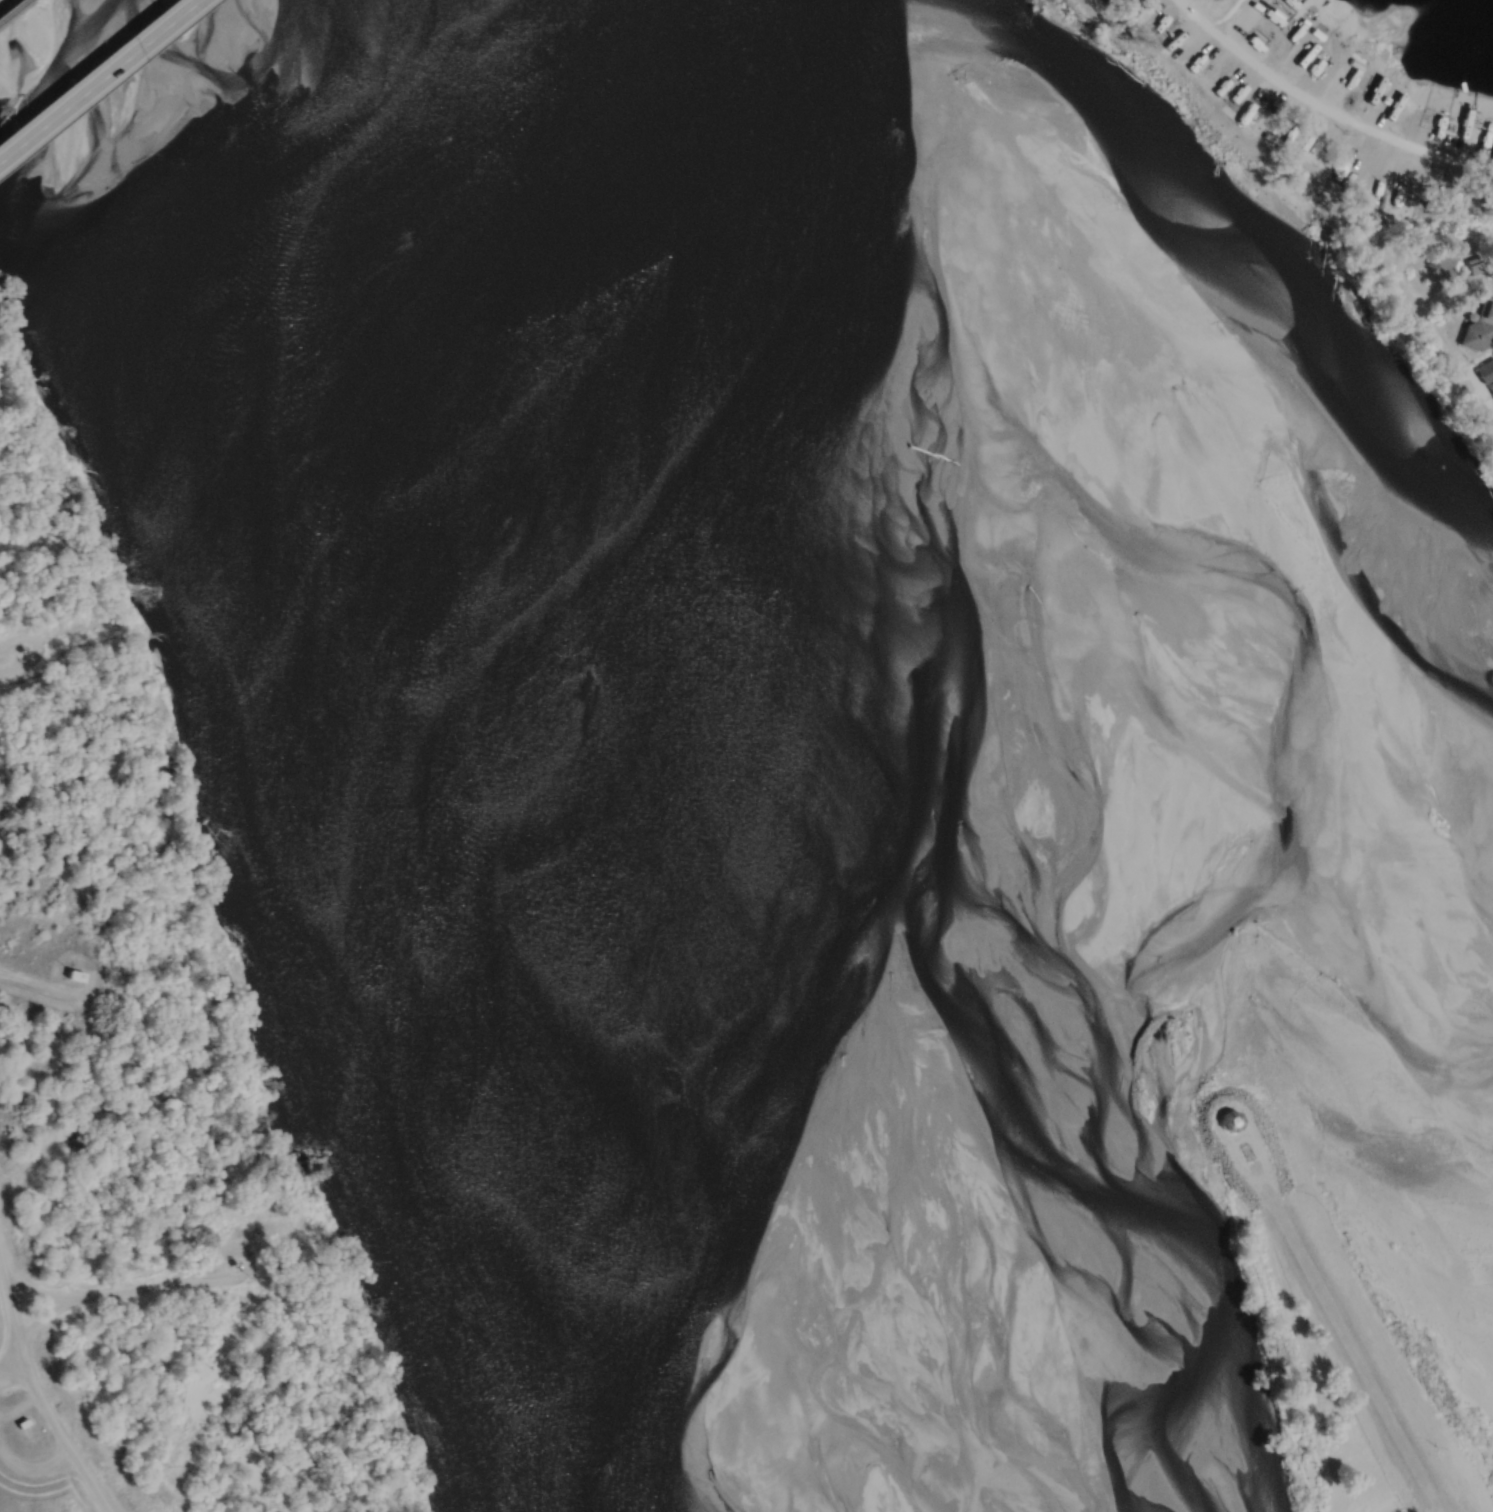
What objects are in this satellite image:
railway: (11, 8)
road: (95, 77)
road: (1322, 109)
building: (1444, 263)
road: (1406, 295)
building: (1480, 330)
building: (1487, 374)
river: (1195, 390)
road: (1490, 427)
road: (33, 655)
river: (493, 759)
building: (76, 976)
road: (44, 990)
road: (1210, 1106)
lighthouse: (1238, 1119)
building: (1230, 1121)
road: (208, 1262)
road: (97, 1296)
road: (1359, 1361)
road: (14, 1368)
road: (35, 1378)

